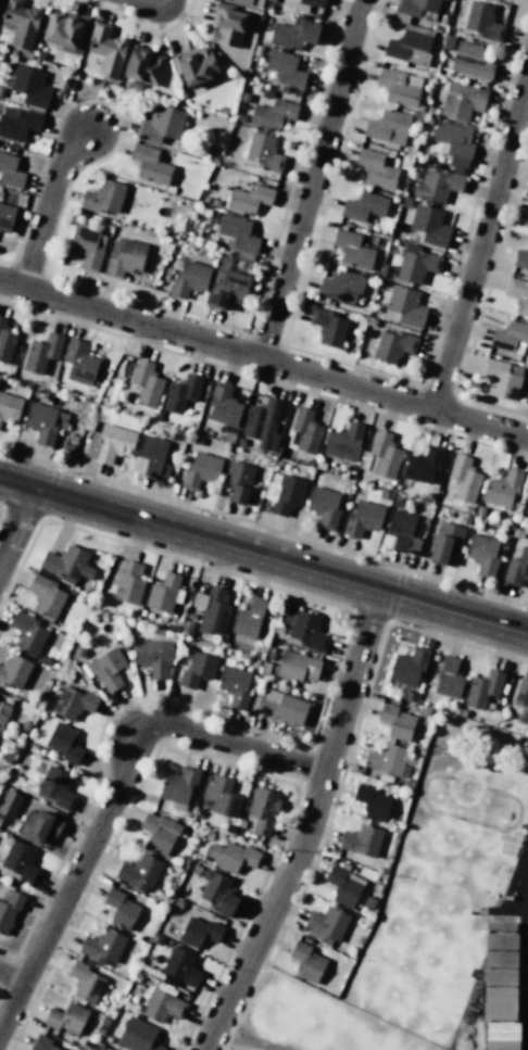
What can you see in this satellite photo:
road: (153, 0)
building: (242, 1)
building: (482, 22)
building: (21, 23)
building: (226, 26)
building: (62, 29)
building: (293, 34)
building: (410, 34)
building: (105, 49)
building: (470, 60)
building: (143, 66)
building: (196, 66)
building: (285, 68)
building: (29, 86)
building: (399, 87)
building: (462, 101)
building: (272, 114)
building: (17, 123)
building: (160, 125)
building: (387, 128)
building: (263, 152)
building: (458, 160)
building: (149, 164)
building: (375, 168)
building: (10, 172)
road: (314, 180)
building: (102, 197)
building: (249, 199)
road: (47, 202)
building: (364, 206)
building: (527, 215)
building: (5, 217)
building: (429, 225)
building: (238, 233)
road: (480, 242)
building: (85, 248)
building: (352, 250)
building: (123, 257)
building: (520, 260)
building: (415, 264)
building: (188, 279)
building: (341, 287)
building: (227, 289)
building: (518, 295)
building: (405, 306)
building: (327, 327)
building: (5, 341)
building: (392, 346)
building: (41, 352)
road: (264, 358)
building: (78, 363)
building: (501, 379)
building: (146, 383)
building: (180, 393)
building: (223, 406)
building: (9, 407)
building: (43, 422)
building: (262, 422)
building: (305, 430)
building: (343, 442)
building: (110, 443)
building: (380, 455)
building: (151, 458)
building: (422, 465)
building: (200, 470)
building: (463, 478)
building: (237, 481)
building: (287, 494)
building: (527, 496)
building: (324, 507)
building: (527, 515)
building: (363, 518)
road: (18, 524)
building: (402, 531)
building: (445, 542)
building: (482, 554)
road: (264, 556)
building: (66, 564)
building: (516, 568)
building: (128, 582)
building: (162, 593)
building: (45, 595)
building: (213, 611)
building: (248, 618)
building: (305, 629)
building: (26, 633)
building: (153, 656)
building: (106, 667)
building: (297, 667)
building: (408, 667)
building: (196, 669)
building: (14, 671)
building: (448, 678)
building: (234, 685)
building: (482, 688)
building: (521, 700)
building: (73, 701)
building: (281, 707)
building: (3, 712)
building: (395, 721)
building: (63, 743)
building: (386, 759)
building: (177, 785)
building: (54, 787)
building: (219, 797)
road: (116, 799)
building: (372, 802)
track: (473, 802)
building: (9, 804)
building: (262, 810)
building: (41, 826)
road: (307, 826)
building: (159, 831)
building: (361, 840)
building: (231, 856)
building: (20, 862)
building: (138, 872)
building: (342, 887)
building: (216, 893)
building: (9, 909)
building: (120, 909)
building: (327, 922)
building: (200, 933)
building: (501, 941)
building: (102, 946)
building: (501, 960)
building: (306, 962)
building: (180, 967)
building: (501, 977)
road: (11, 981)
building: (84, 982)
building: (500, 1003)
building: (161, 1004)
building: (66, 1017)
park: (307, 1021)
building: (137, 1036)
building: (503, 1036)
road: (246, 1039)
building: (40, 1043)

